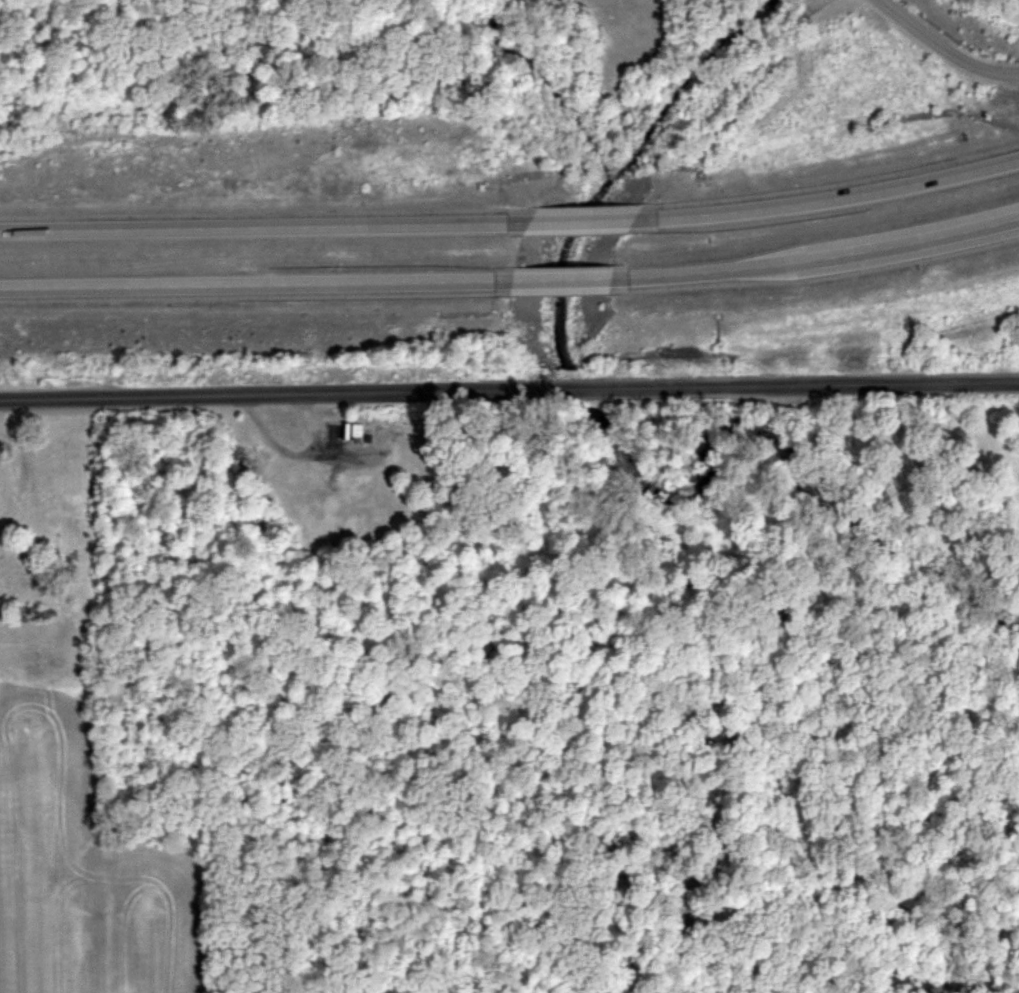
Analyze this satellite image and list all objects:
road: (944, 45)
road: (512, 222)
road: (512, 282)
road: (509, 392)
building: (294, 480)

